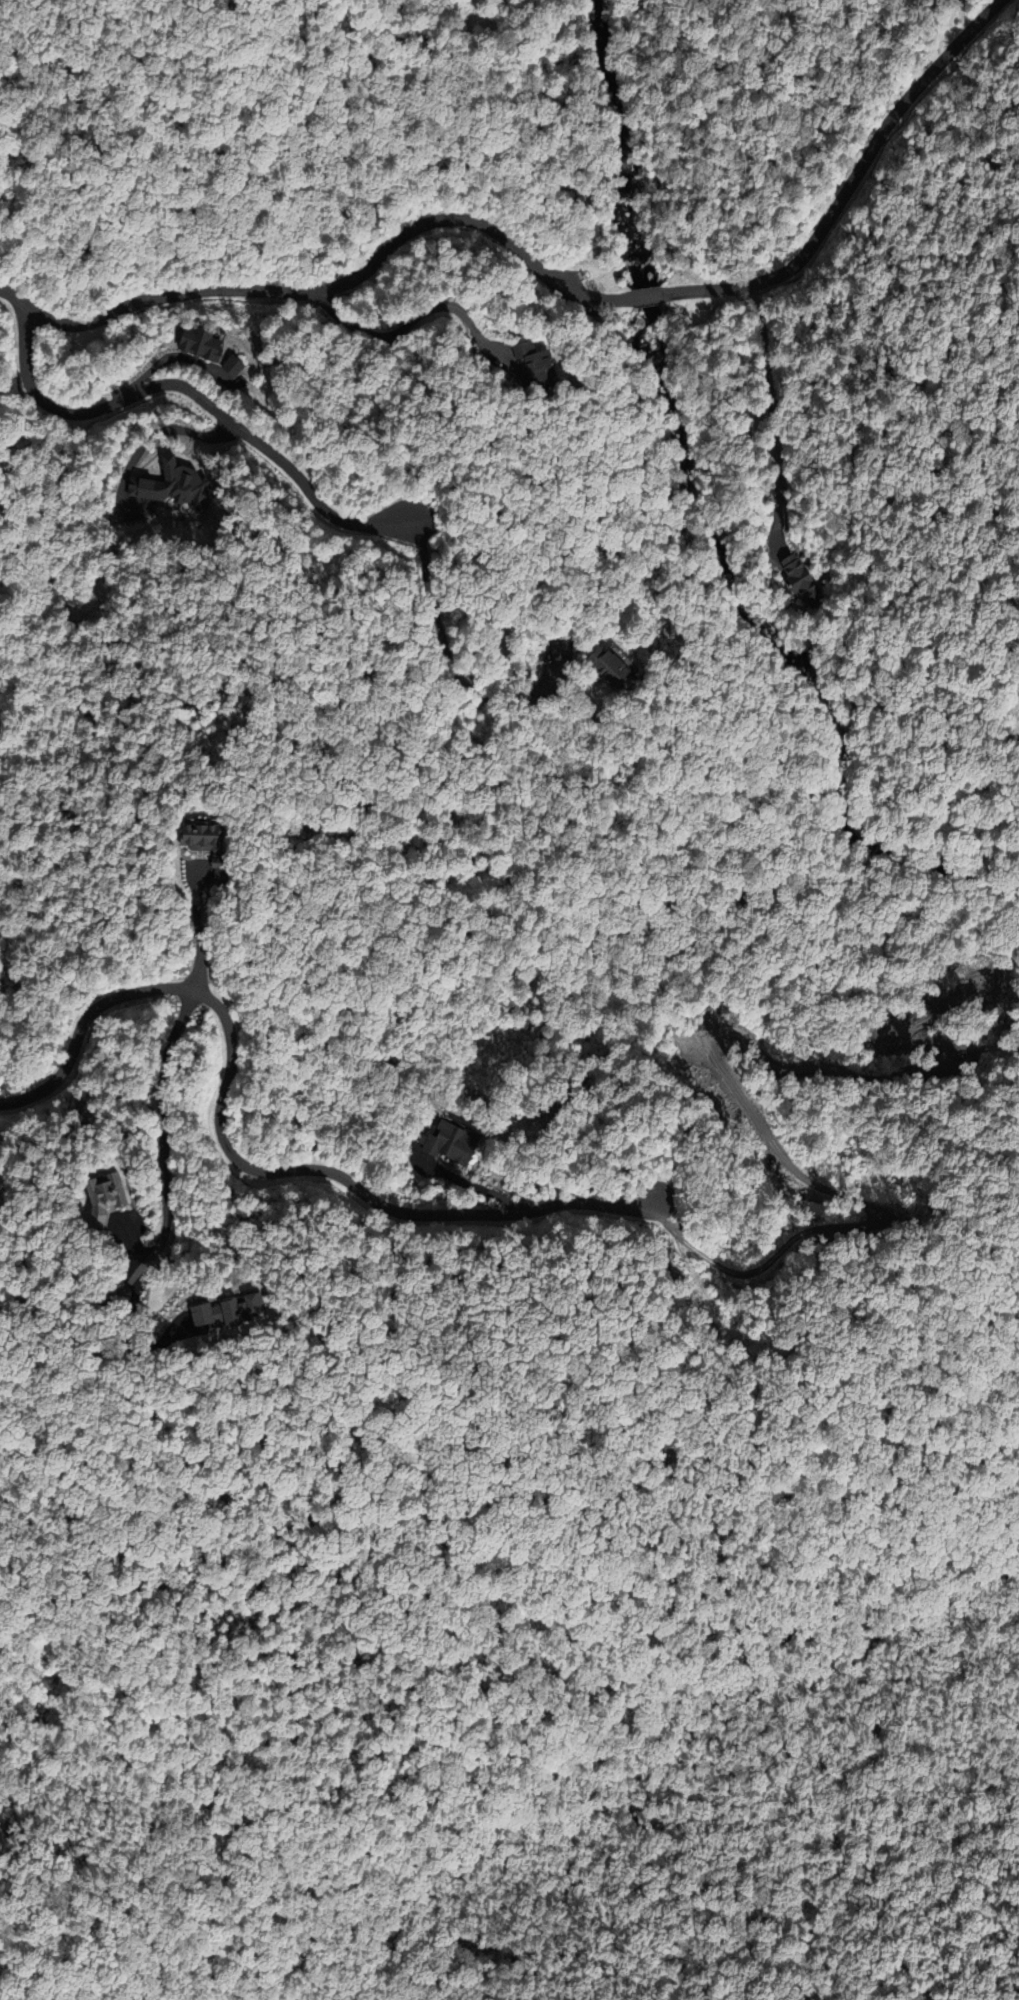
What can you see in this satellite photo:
road: (849, 182)
road: (332, 286)
road: (647, 295)
building: (528, 363)
road: (197, 395)
building: (799, 578)
building: (555, 650)
building: (602, 666)
building: (192, 838)
road: (197, 926)
road: (163, 1135)
building: (446, 1142)
road: (236, 1159)
building: (97, 1189)
road: (640, 1777)

